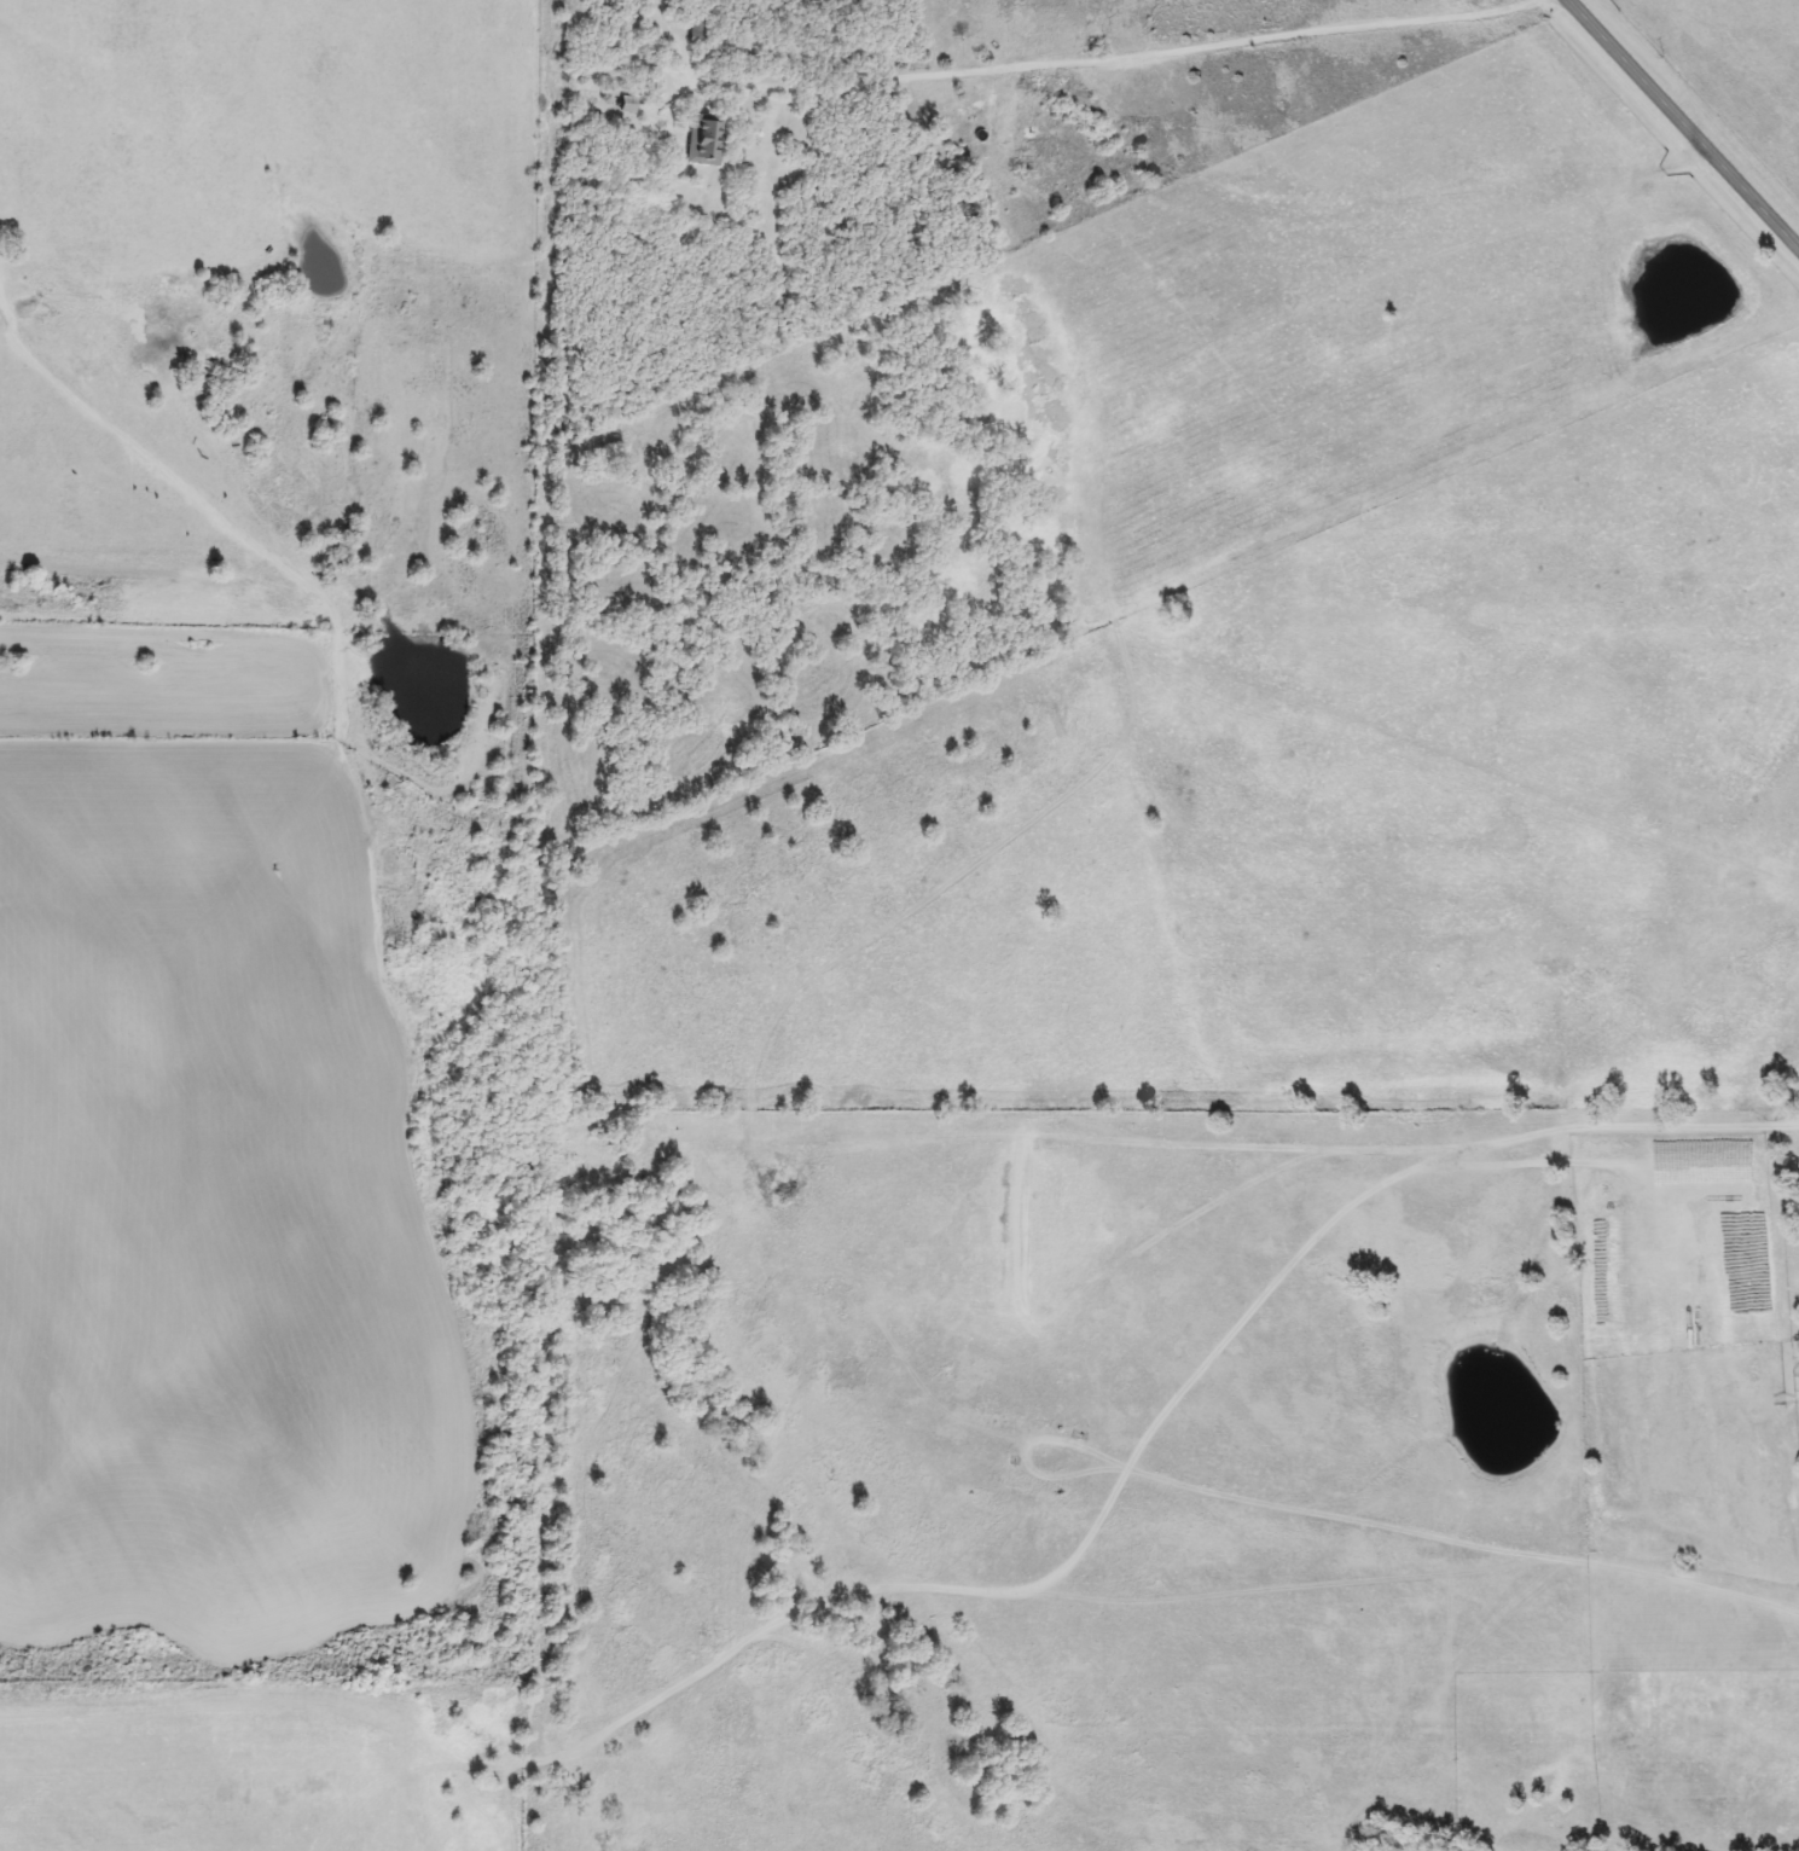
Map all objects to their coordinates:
road: (1112, 59)
building: (626, 104)
road: (1682, 123)
building: (702, 139)
road: (1393, 204)
road: (10, 333)

